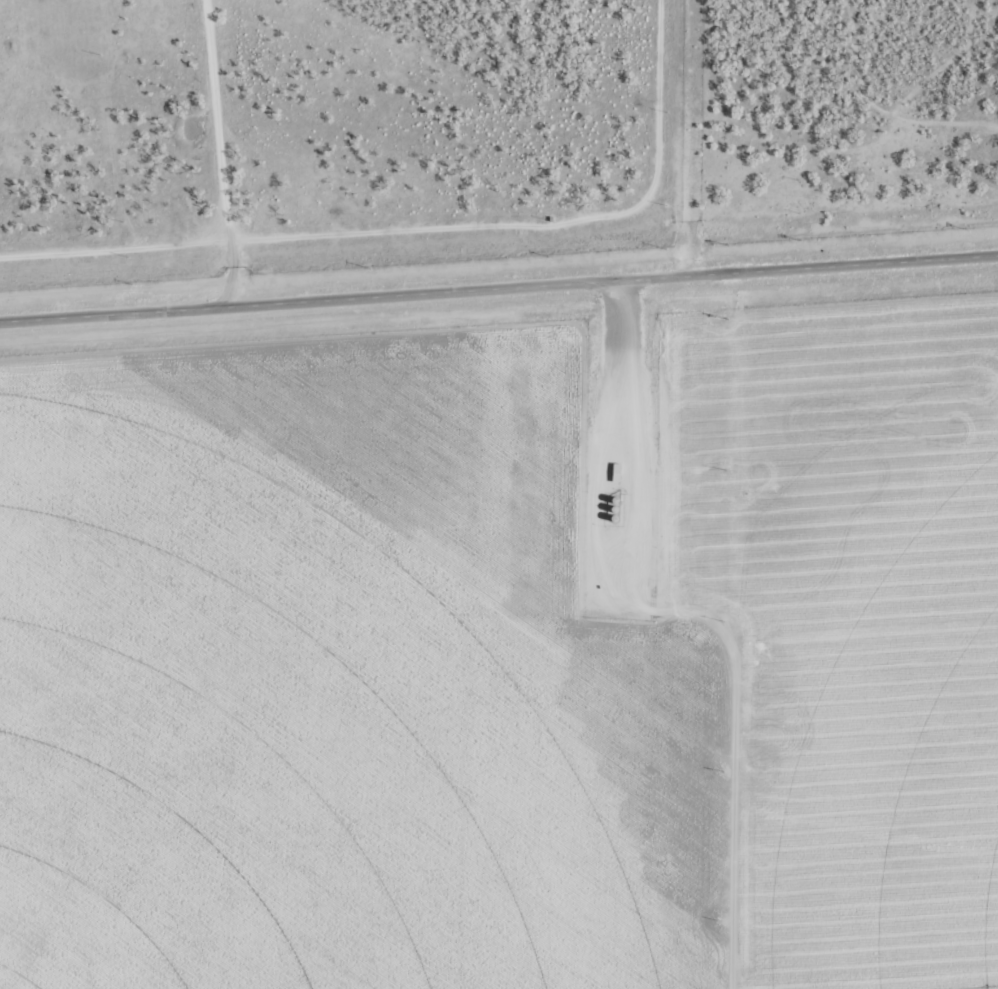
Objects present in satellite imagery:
road: (221, 157)
railway: (499, 267)
road: (499, 297)
road: (733, 488)

